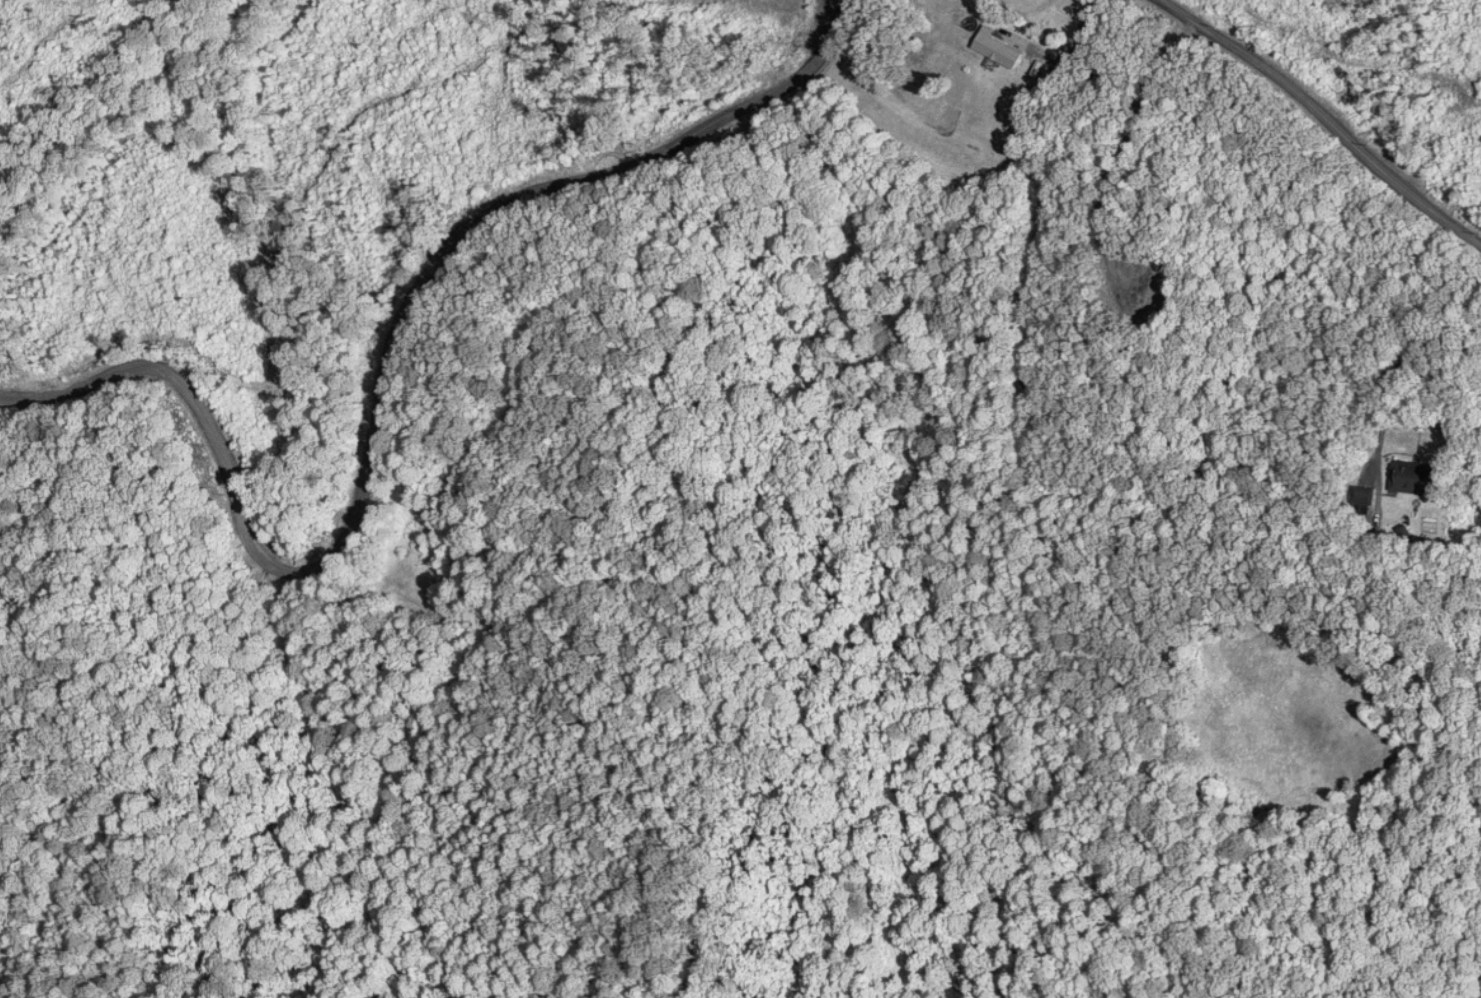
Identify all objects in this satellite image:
building: (991, 50)
road: (1322, 115)
road: (1396, 371)
road: (376, 385)
building: (1410, 478)
building: (1360, 496)

